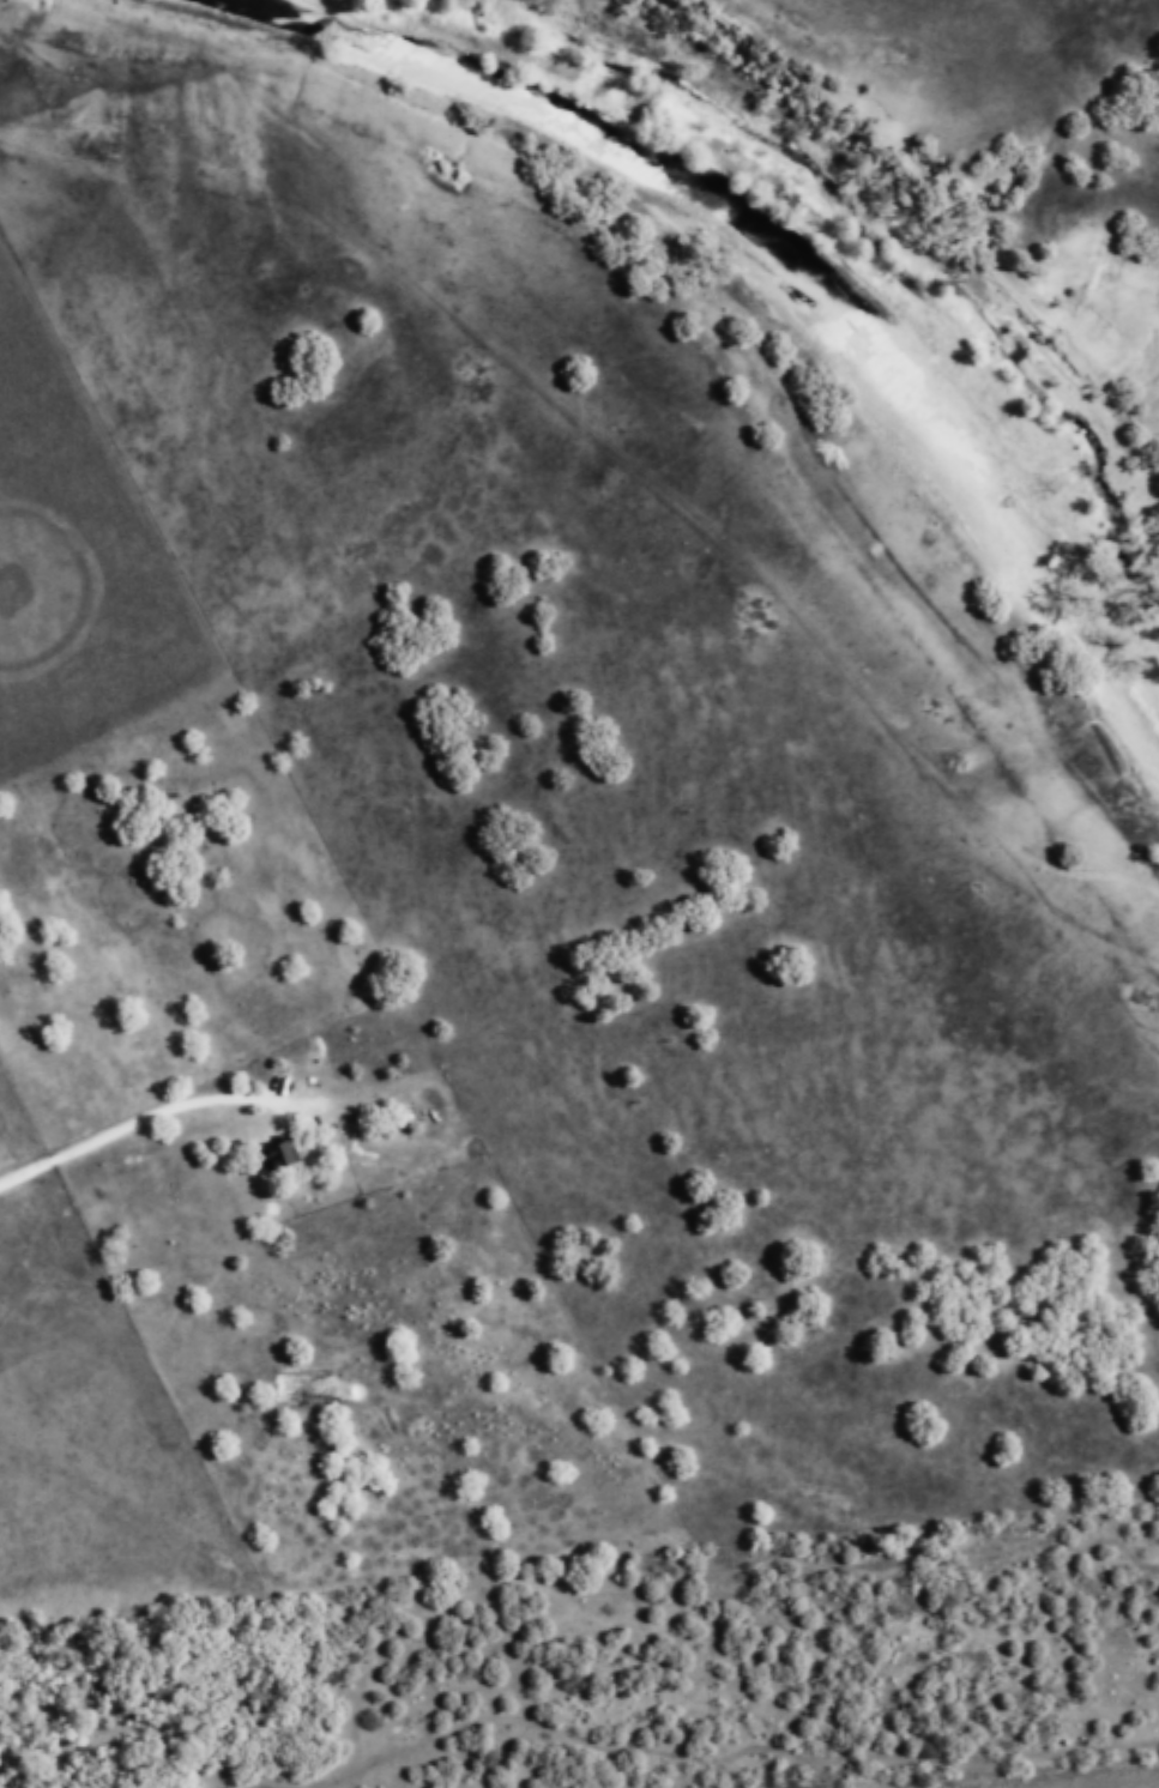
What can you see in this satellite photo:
river: (809, 256)
building: (283, 1155)

